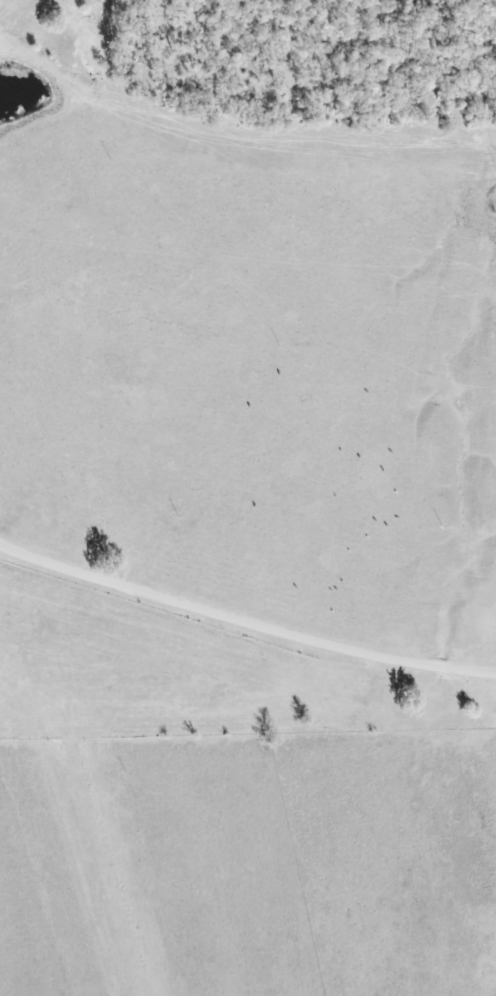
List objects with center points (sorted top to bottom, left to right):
road: (244, 626)

